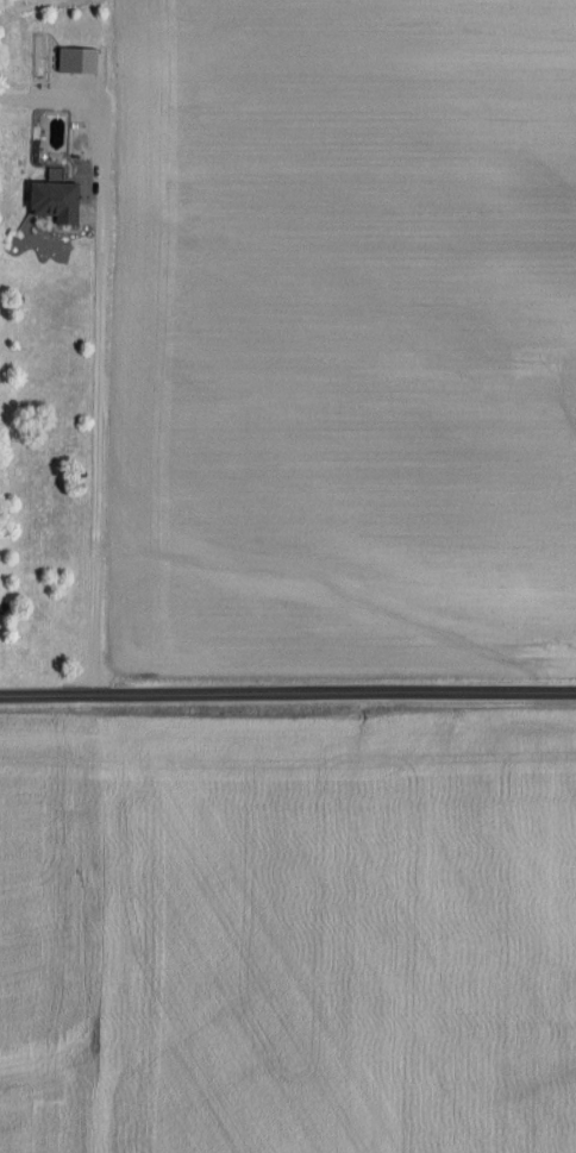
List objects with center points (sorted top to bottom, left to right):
building: (76, 62)
road: (73, 107)
building: (55, 201)
road: (99, 433)
road: (287, 693)

